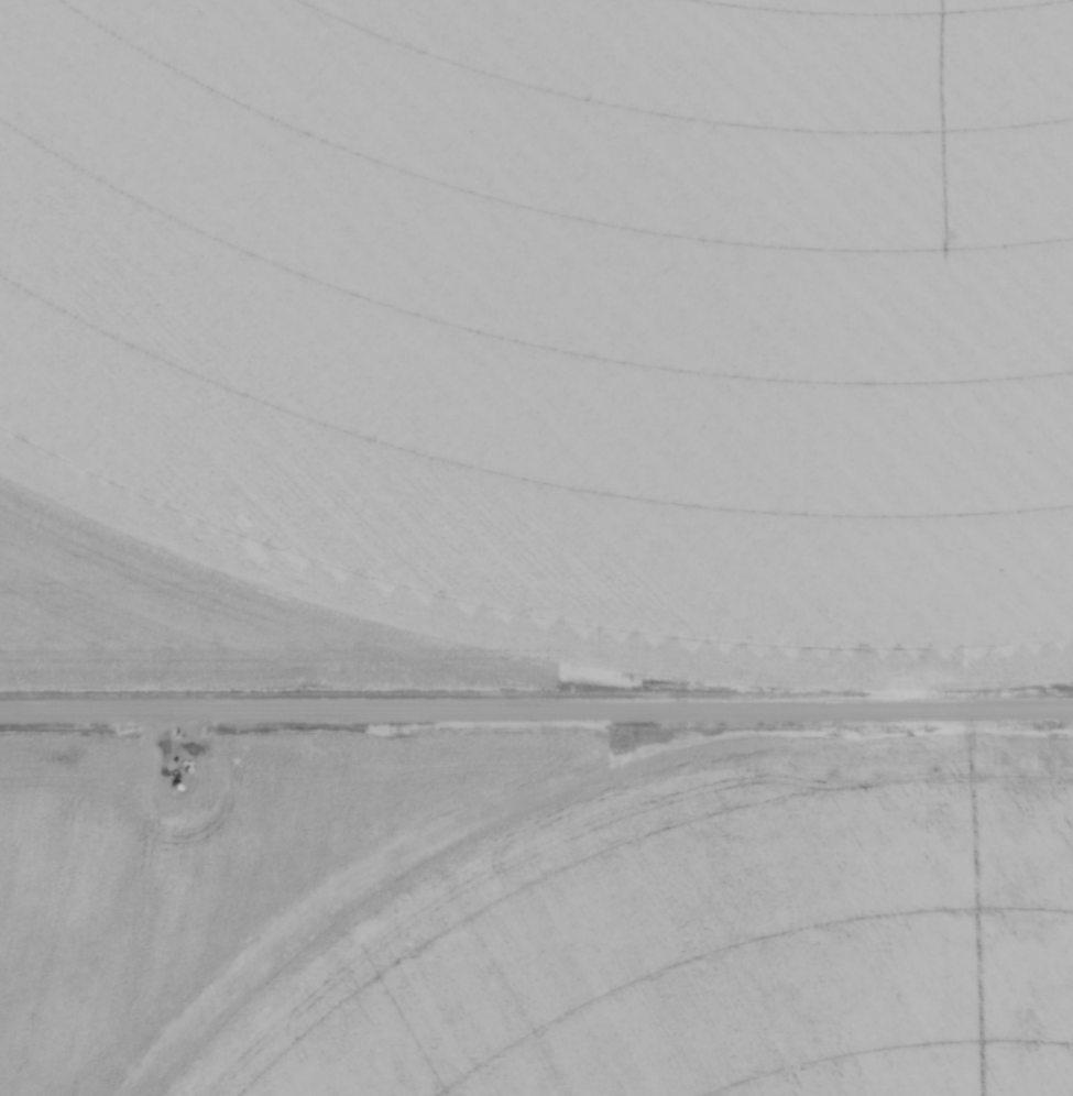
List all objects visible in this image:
road: (536, 714)
crop: (205, 865)

